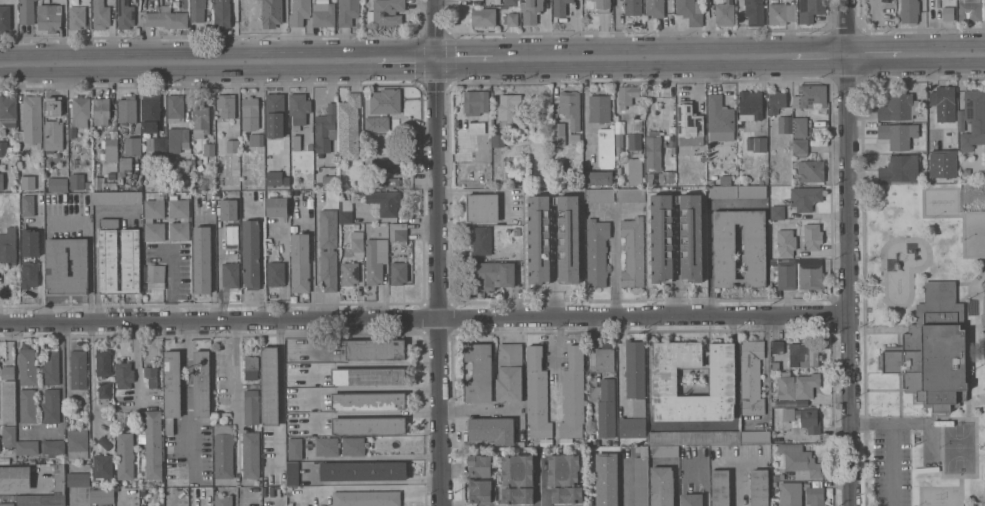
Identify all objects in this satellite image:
building: (510, 2)
building: (603, 6)
building: (560, 7)
building: (632, 7)
building: (654, 8)
building: (199, 9)
building: (810, 10)
building: (947, 10)
building: (969, 10)
building: (26, 11)
building: (532, 11)
building: (690, 11)
building: (909, 11)
building: (299, 12)
building: (347, 12)
building: (754, 12)
building: (271, 13)
building: (385, 13)
building: (724, 13)
building: (781, 13)
building: (125, 14)
building: (222, 14)
building: (100, 15)
building: (324, 15)
building: (49, 17)
building: (77, 17)
building: (483, 17)
building: (5, 18)
building: (166, 18)
building: (512, 19)
road: (914, 55)
road: (640, 58)
traffic signals: (438, 61)
road: (219, 62)
building: (627, 95)
building: (812, 96)
road: (584, 99)
building: (390, 100)
building: (941, 100)
building: (475, 101)
building: (776, 101)
building: (226, 105)
building: (749, 105)
building: (52, 106)
building: (174, 107)
building: (508, 107)
building: (897, 107)
building: (570, 108)
building: (599, 108)
building: (127, 109)
building: (299, 109)
building: (8, 110)
building: (81, 110)
building: (101, 111)
building: (151, 113)
building: (249, 113)
building: (274, 115)
building: (31, 119)
building: (719, 119)
building: (200, 120)
building: (931, 122)
building: (979, 122)
building: (380, 123)
building: (689, 124)
building: (784, 124)
building: (349, 127)
building: (800, 127)
building: (476, 128)
building: (325, 129)
building: (949, 129)
building: (53, 134)
building: (558, 134)
building: (897, 134)
building: (672, 138)
building: (177, 139)
building: (497, 139)
building: (575, 139)
building: (256, 140)
building: (618, 142)
building: (634, 142)
building: (296, 143)
building: (756, 143)
building: (155, 145)
building: (133, 146)
building: (232, 146)
building: (309, 146)
building: (3, 147)
building: (605, 148)
building: (800, 148)
building: (208, 149)
building: (111, 150)
building: (653, 151)
building: (389, 159)
building: (125, 164)
building: (899, 169)
building: (811, 170)
building: (619, 171)
building: (635, 171)
building: (235, 172)
building: (966, 172)
building: (598, 177)
building: (660, 177)
building: (274, 178)
building: (725, 178)
building: (763, 180)
building: (1, 181)
building: (77, 181)
building: (27, 182)
building: (328, 182)
building: (391, 182)
building: (57, 184)
building: (88, 185)
building: (737, 192)
building: (630, 194)
building: (599, 195)
building: (118, 198)
building: (805, 198)
building: (384, 201)
building: (28, 205)
building: (276, 207)
building: (481, 207)
building: (228, 209)
building: (346, 211)
building: (777, 212)
building: (148, 220)
building: (184, 220)
building: (2, 222)
building: (356, 226)
building: (1, 229)
building: (516, 231)
building: (397, 232)
road: (710, 236)
building: (812, 236)
building: (231, 237)
building: (691, 240)
building: (357, 241)
building: (481, 241)
building: (30, 242)
building: (786, 242)
building: (568, 243)
building: (8, 247)
building: (328, 249)
building: (754, 250)
building: (596, 252)
building: (632, 252)
road: (438, 253)
road: (847, 253)
building: (251, 254)
building: (202, 259)
road: (261, 259)
road: (311, 260)
building: (375, 260)
building: (300, 263)
building: (773, 263)
building: (108, 264)
road: (614, 264)
building: (67, 266)
road: (217, 271)
building: (398, 273)
building: (809, 273)
building: (29, 274)
building: (275, 274)
building: (349, 274)
building: (230, 275)
building: (493, 275)
building: (786, 275)
building: (155, 276)
road: (169, 286)
park: (984, 306)
road: (424, 319)
park: (926, 345)
building: (777, 347)
building: (374, 349)
building: (932, 350)
building: (803, 355)
building: (605, 360)
road: (620, 360)
building: (103, 362)
building: (51, 367)
road: (135, 367)
building: (27, 368)
building: (250, 368)
building: (78, 369)
building: (635, 369)
building: (7, 372)
building: (479, 373)
building: (509, 373)
building: (124, 375)
building: (151, 376)
building: (368, 376)
building: (751, 377)
building: (664, 381)
road: (185, 384)
building: (201, 384)
building: (806, 384)
building: (270, 386)
building: (785, 387)
building: (171, 388)
building: (104, 392)
building: (537, 394)
building: (572, 396)
building: (368, 401)
building: (9, 402)
road: (236, 402)
building: (28, 406)
building: (51, 406)
building: (251, 407)
building: (638, 407)
building: (606, 408)
road: (479, 411)
building: (803, 418)
road: (693, 425)
building: (368, 426)
building: (631, 427)
building: (492, 430)
building: (8, 436)
building: (693, 437)
building: (755, 437)
building: (104, 443)
building: (583, 443)
road: (895, 443)
building: (77, 444)
building: (153, 445)
building: (53, 446)
building: (27, 447)
building: (326, 447)
building: (353, 447)
building: (294, 448)
building: (223, 451)
building: (664, 451)
building: (251, 455)
building: (125, 456)
building: (800, 460)
building: (102, 466)
building: (479, 466)
parking lot: (891, 467)
building: (563, 469)
building: (517, 470)
building: (363, 471)
building: (292, 474)
building: (640, 477)
building: (775, 477)
building: (15, 478)
building: (58, 479)
building: (78, 479)
building: (606, 479)
road: (740, 482)
road: (538, 483)
building: (135, 484)
building: (661, 486)
road: (626, 487)
building: (720, 487)
building: (759, 487)
building: (480, 491)
building: (566, 494)
building: (790, 494)
building: (518, 495)
building: (814, 495)
building: (102, 496)
building: (366, 498)
building: (691, 499)
building: (41, 500)
building: (223, 500)
building: (7, 504)

